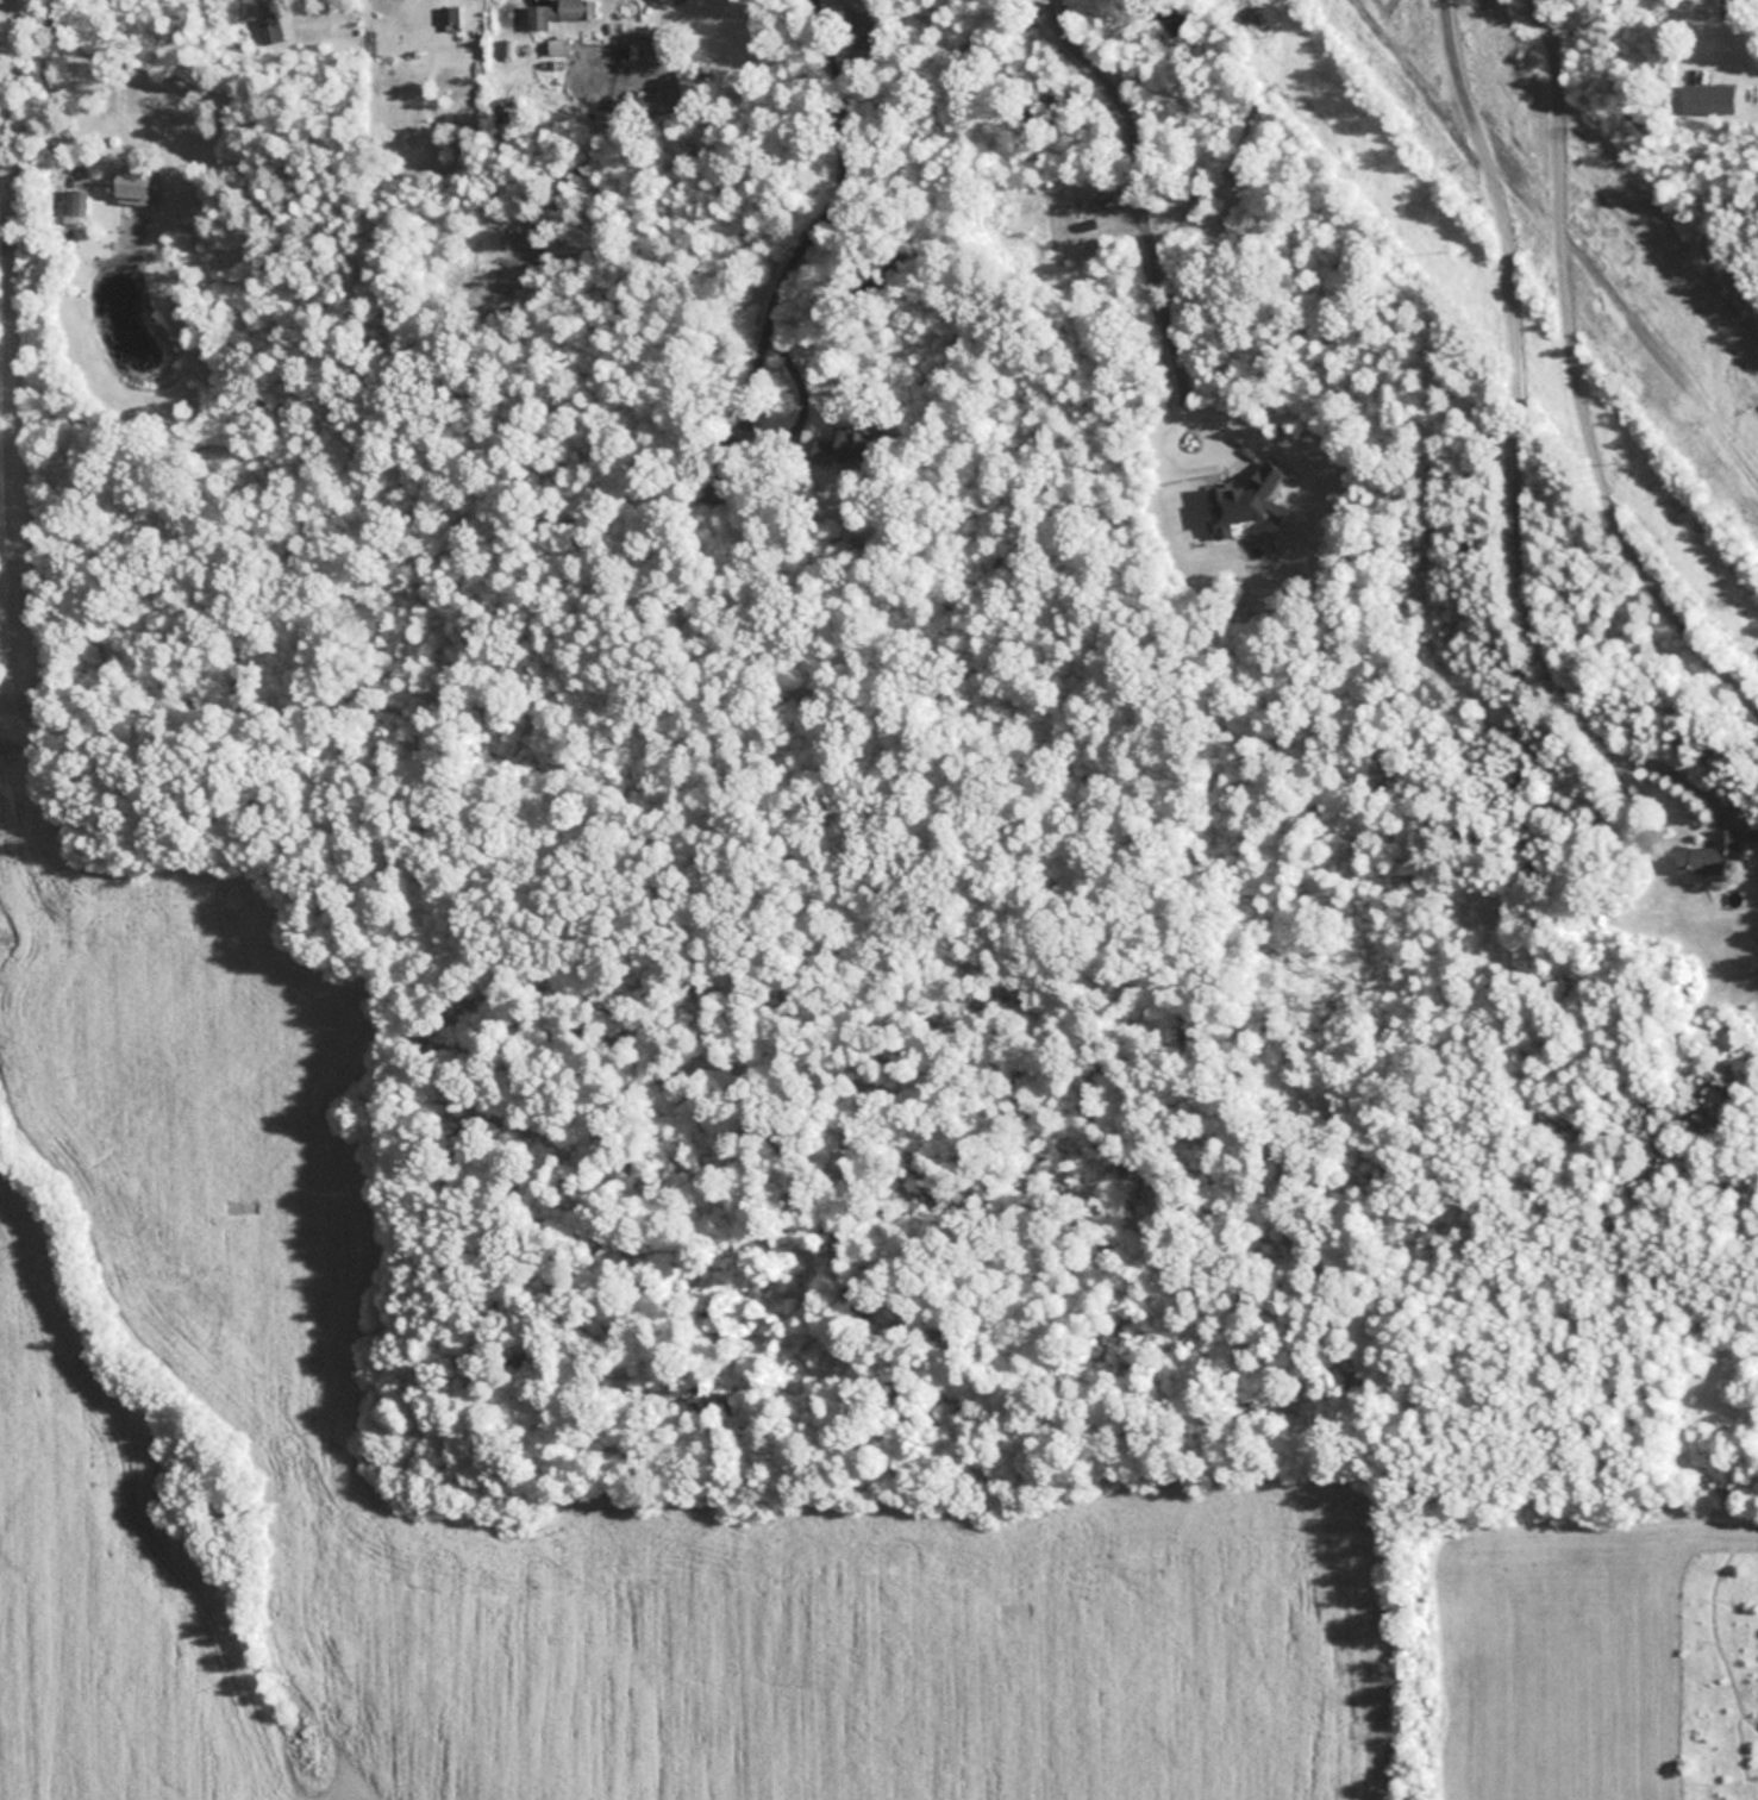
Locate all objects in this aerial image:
building: (564, 13)
building: (449, 14)
building: (273, 32)
building: (558, 46)
road: (44, 92)
building: (1715, 101)
building: (139, 187)
road: (1137, 194)
building: (71, 205)
road: (831, 207)
road: (1572, 382)
road: (1513, 446)
building: (851, 449)
road: (1196, 457)
building: (720, 488)
building: (1251, 505)
building: (1714, 856)

